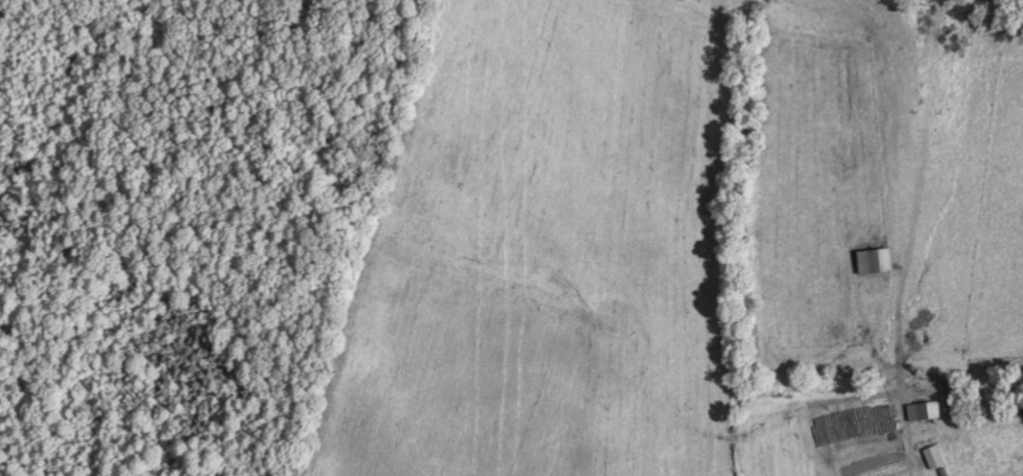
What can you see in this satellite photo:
building: (874, 261)
building: (924, 411)
building: (934, 457)

